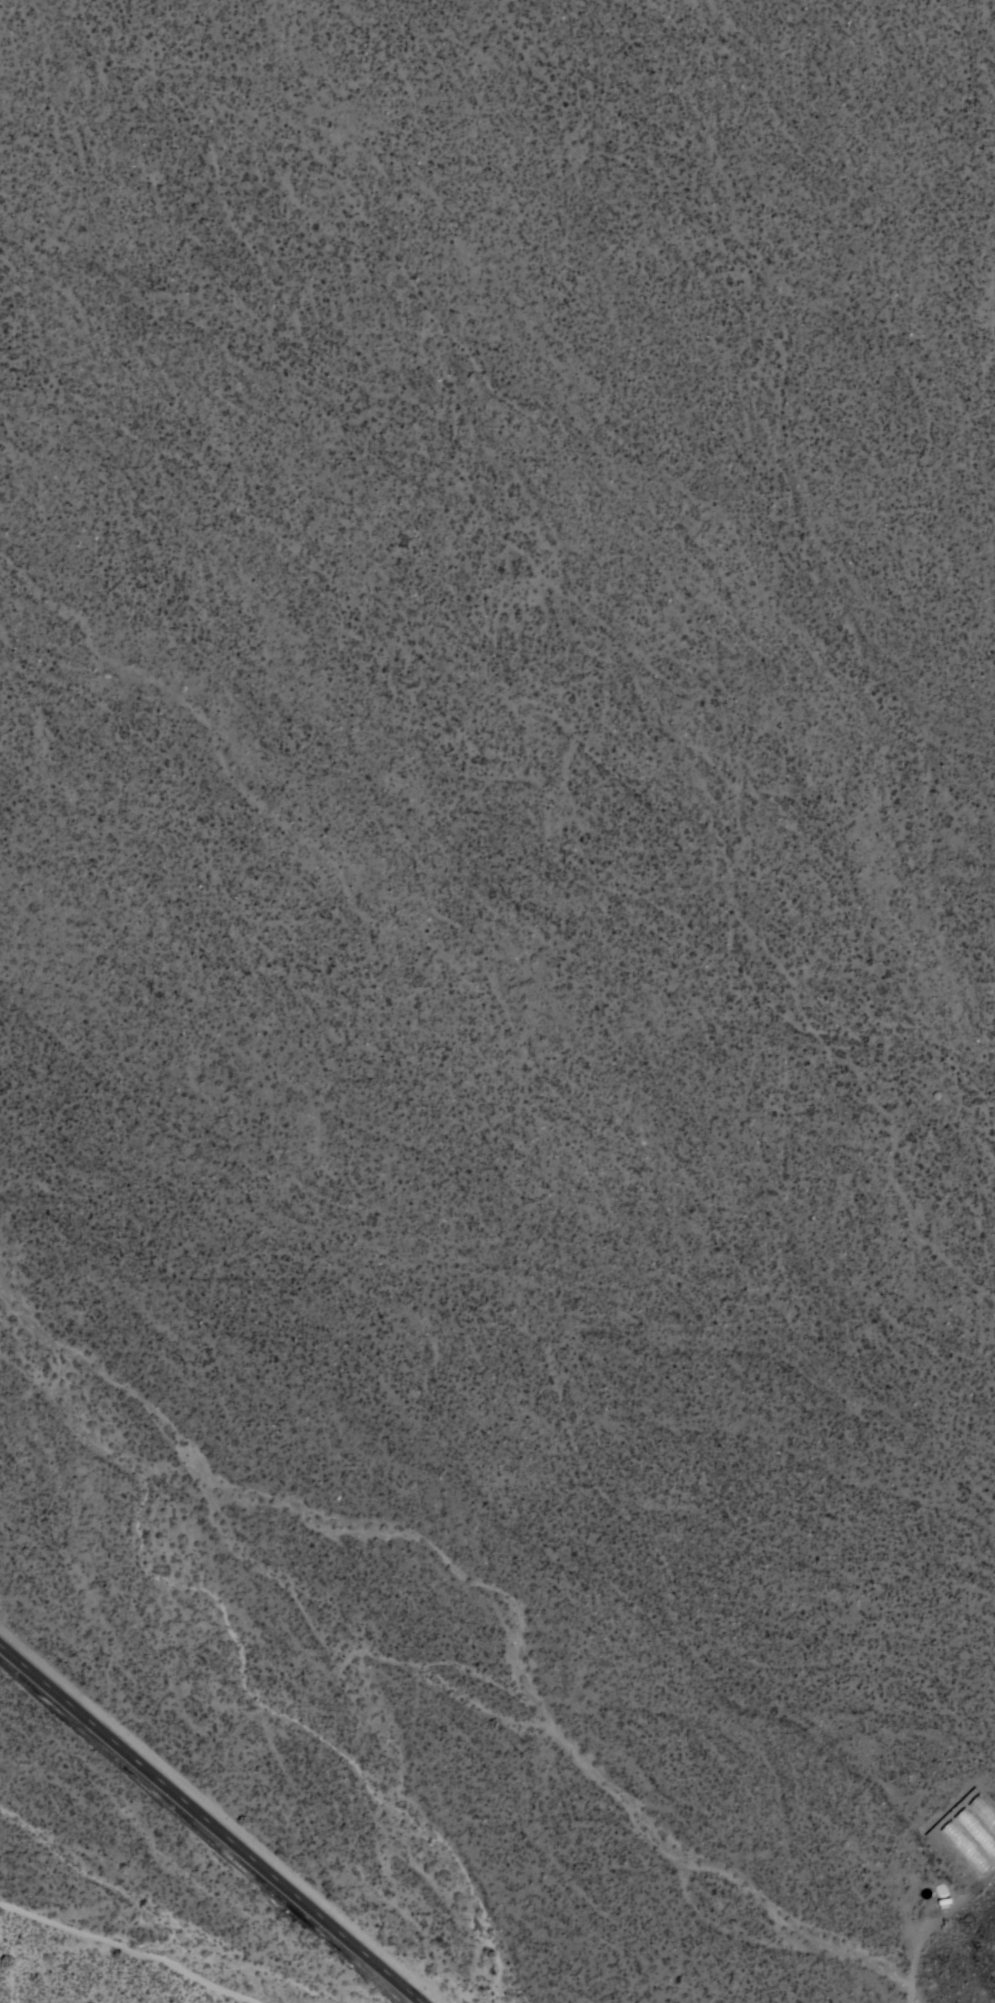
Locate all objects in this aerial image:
road: (213, 1823)
road: (125, 1950)

